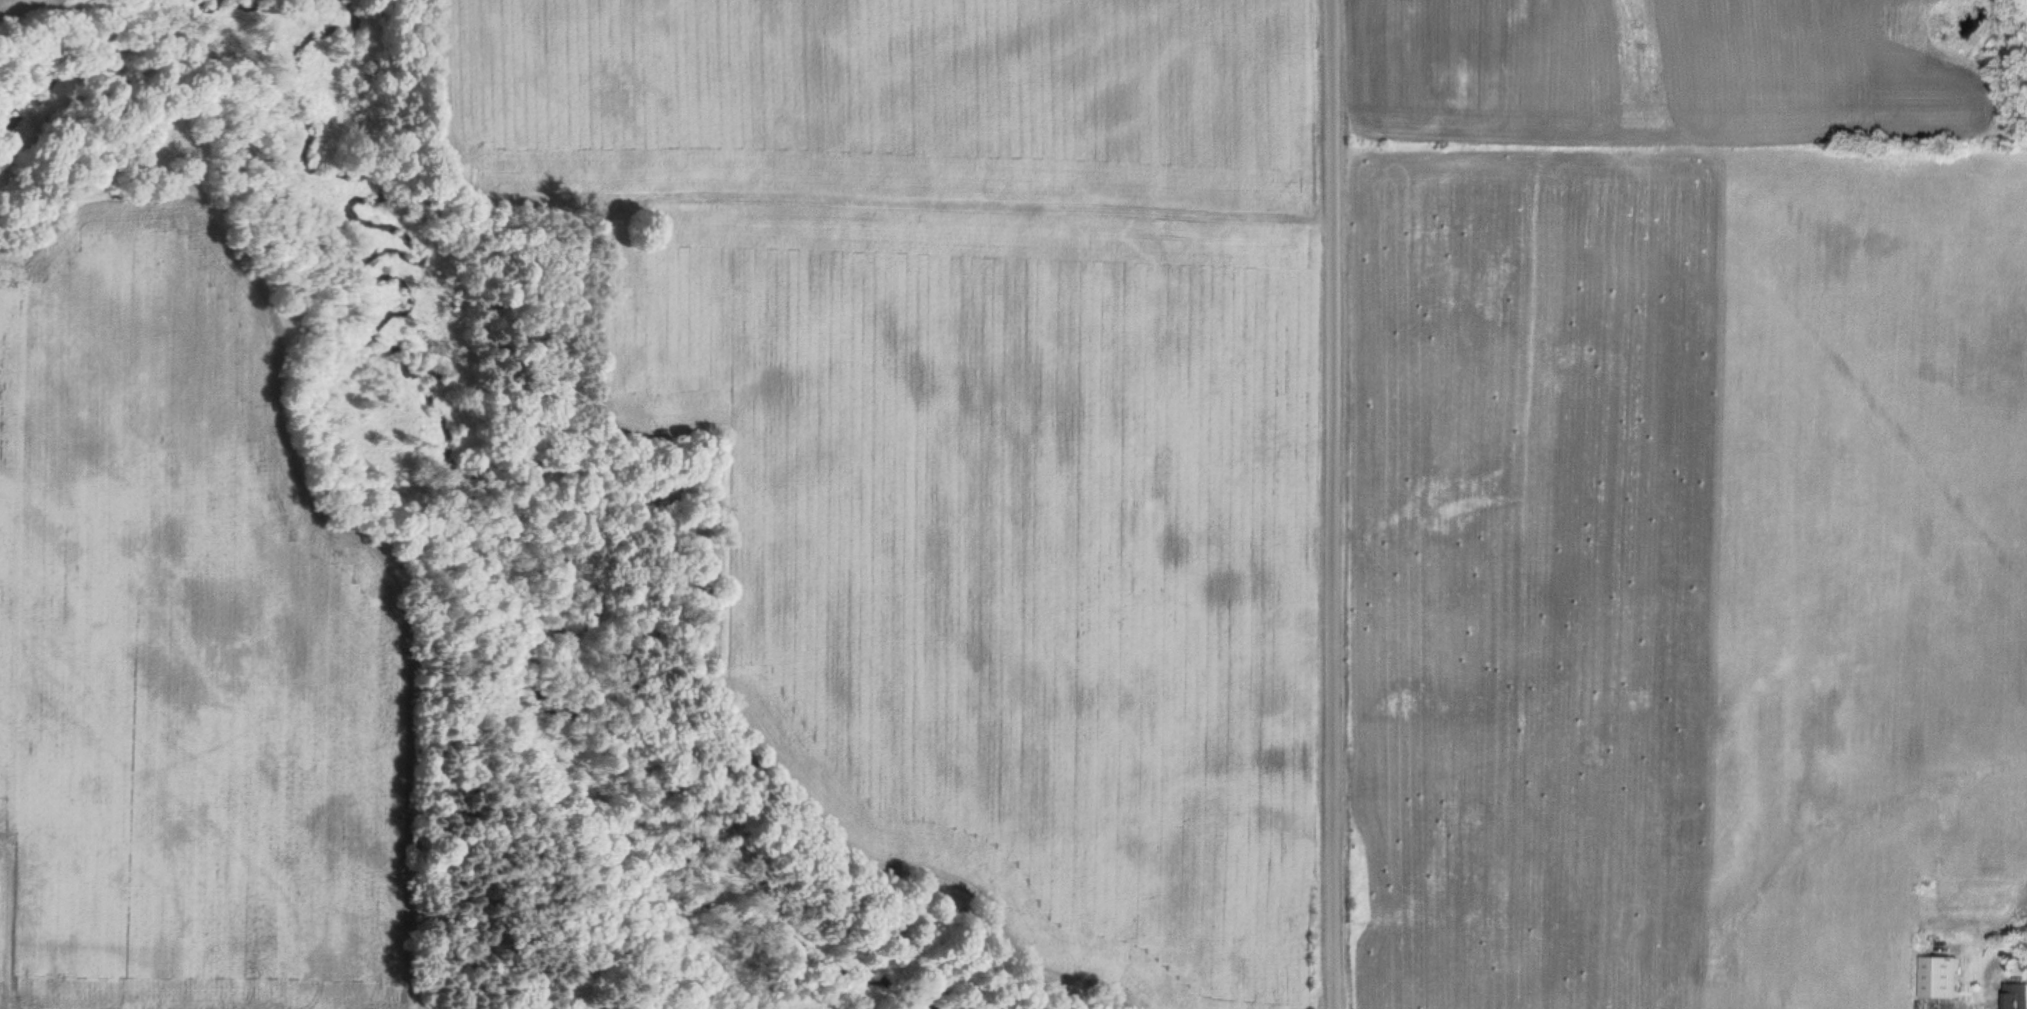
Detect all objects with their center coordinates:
road: (1333, 504)
building: (1945, 978)
building: (2018, 994)

